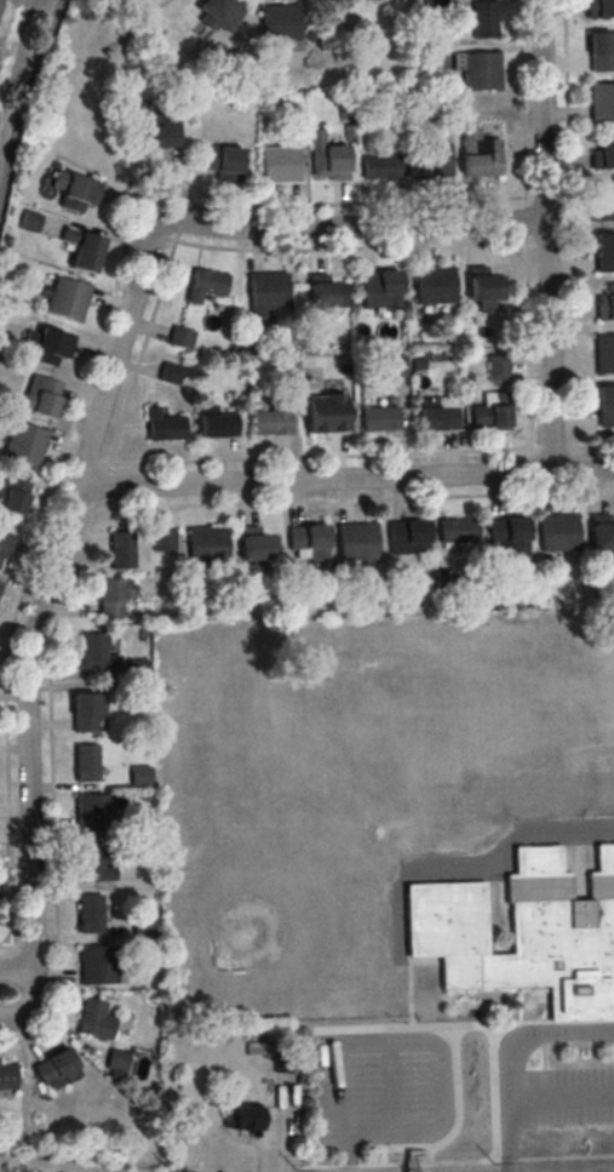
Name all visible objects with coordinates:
building: (328, 2)
building: (601, 7)
building: (217, 13)
building: (484, 18)
building: (279, 22)
building: (599, 50)
building: (480, 72)
road: (22, 97)
building: (601, 102)
building: (157, 128)
building: (602, 153)
building: (477, 154)
building: (222, 160)
building: (327, 161)
building: (429, 161)
building: (280, 164)
building: (379, 167)
building: (79, 194)
building: (602, 204)
building: (30, 221)
road: (352, 227)
road: (526, 230)
road: (545, 235)
road: (569, 235)
road: (208, 247)
building: (81, 248)
building: (604, 251)
building: (203, 284)
building: (482, 285)
building: (434, 286)
building: (379, 287)
building: (265, 291)
building: (323, 292)
building: (65, 298)
building: (604, 304)
building: (179, 338)
building: (52, 348)
building: (603, 355)
building: (395, 365)
building: (498, 366)
road: (88, 368)
building: (168, 373)
building: (40, 396)
building: (604, 406)
building: (325, 413)
building: (489, 417)
building: (272, 418)
building: (379, 418)
building: (437, 418)
building: (217, 424)
building: (166, 428)
building: (25, 444)
road: (595, 447)
road: (340, 457)
road: (532, 467)
road: (345, 479)
building: (12, 494)
road: (352, 501)
building: (506, 528)
building: (407, 531)
building: (457, 531)
building: (602, 531)
building: (557, 533)
building: (161, 534)
building: (306, 534)
building: (356, 541)
building: (258, 543)
building: (207, 545)
building: (5, 549)
building: (121, 549)
building: (108, 599)
road: (33, 624)
building: (92, 650)
building: (82, 713)
building: (85, 762)
building: (139, 774)
road: (51, 791)
building: (92, 813)
road: (509, 848)
building: (92, 864)
building: (90, 914)
building: (527, 933)
building: (97, 965)
road: (17, 970)
building: (94, 1019)
road: (464, 1030)
road: (391, 1045)
building: (257, 1047)
building: (116, 1059)
road: (512, 1059)
building: (56, 1069)
building: (6, 1076)
road: (390, 1092)
road: (443, 1092)
road: (337, 1093)
road: (493, 1097)
road: (568, 1100)
road: (515, 1103)
building: (245, 1117)
road: (453, 1132)
road: (392, 1137)
road: (351, 1154)
road: (345, 1155)
road: (426, 1156)
road: (429, 1159)
road: (566, 1161)
road: (509, 1164)
road: (401, 1167)

